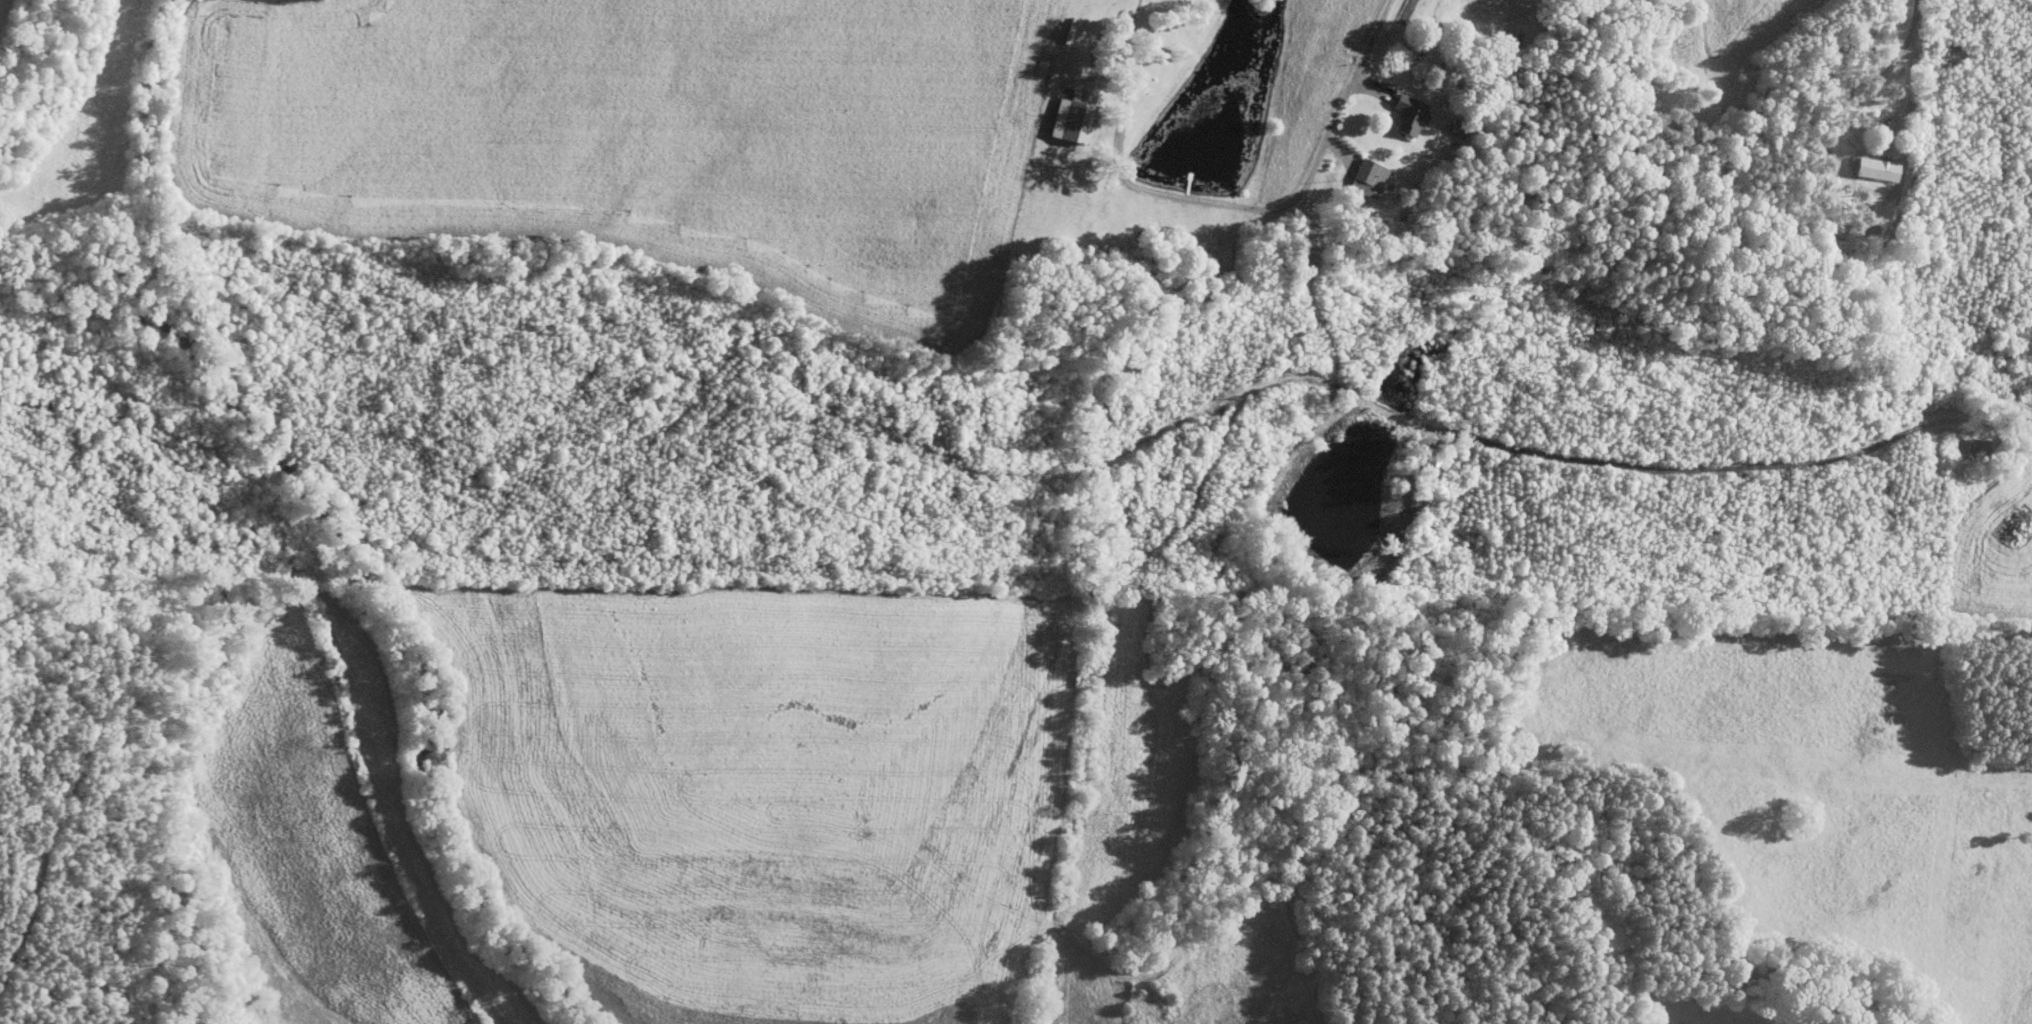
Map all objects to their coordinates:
road: (1911, 35)
building: (1406, 114)
building: (1069, 121)
building: (1875, 168)
building: (1366, 178)
road: (1245, 206)
building: (1977, 446)
road: (1738, 463)

